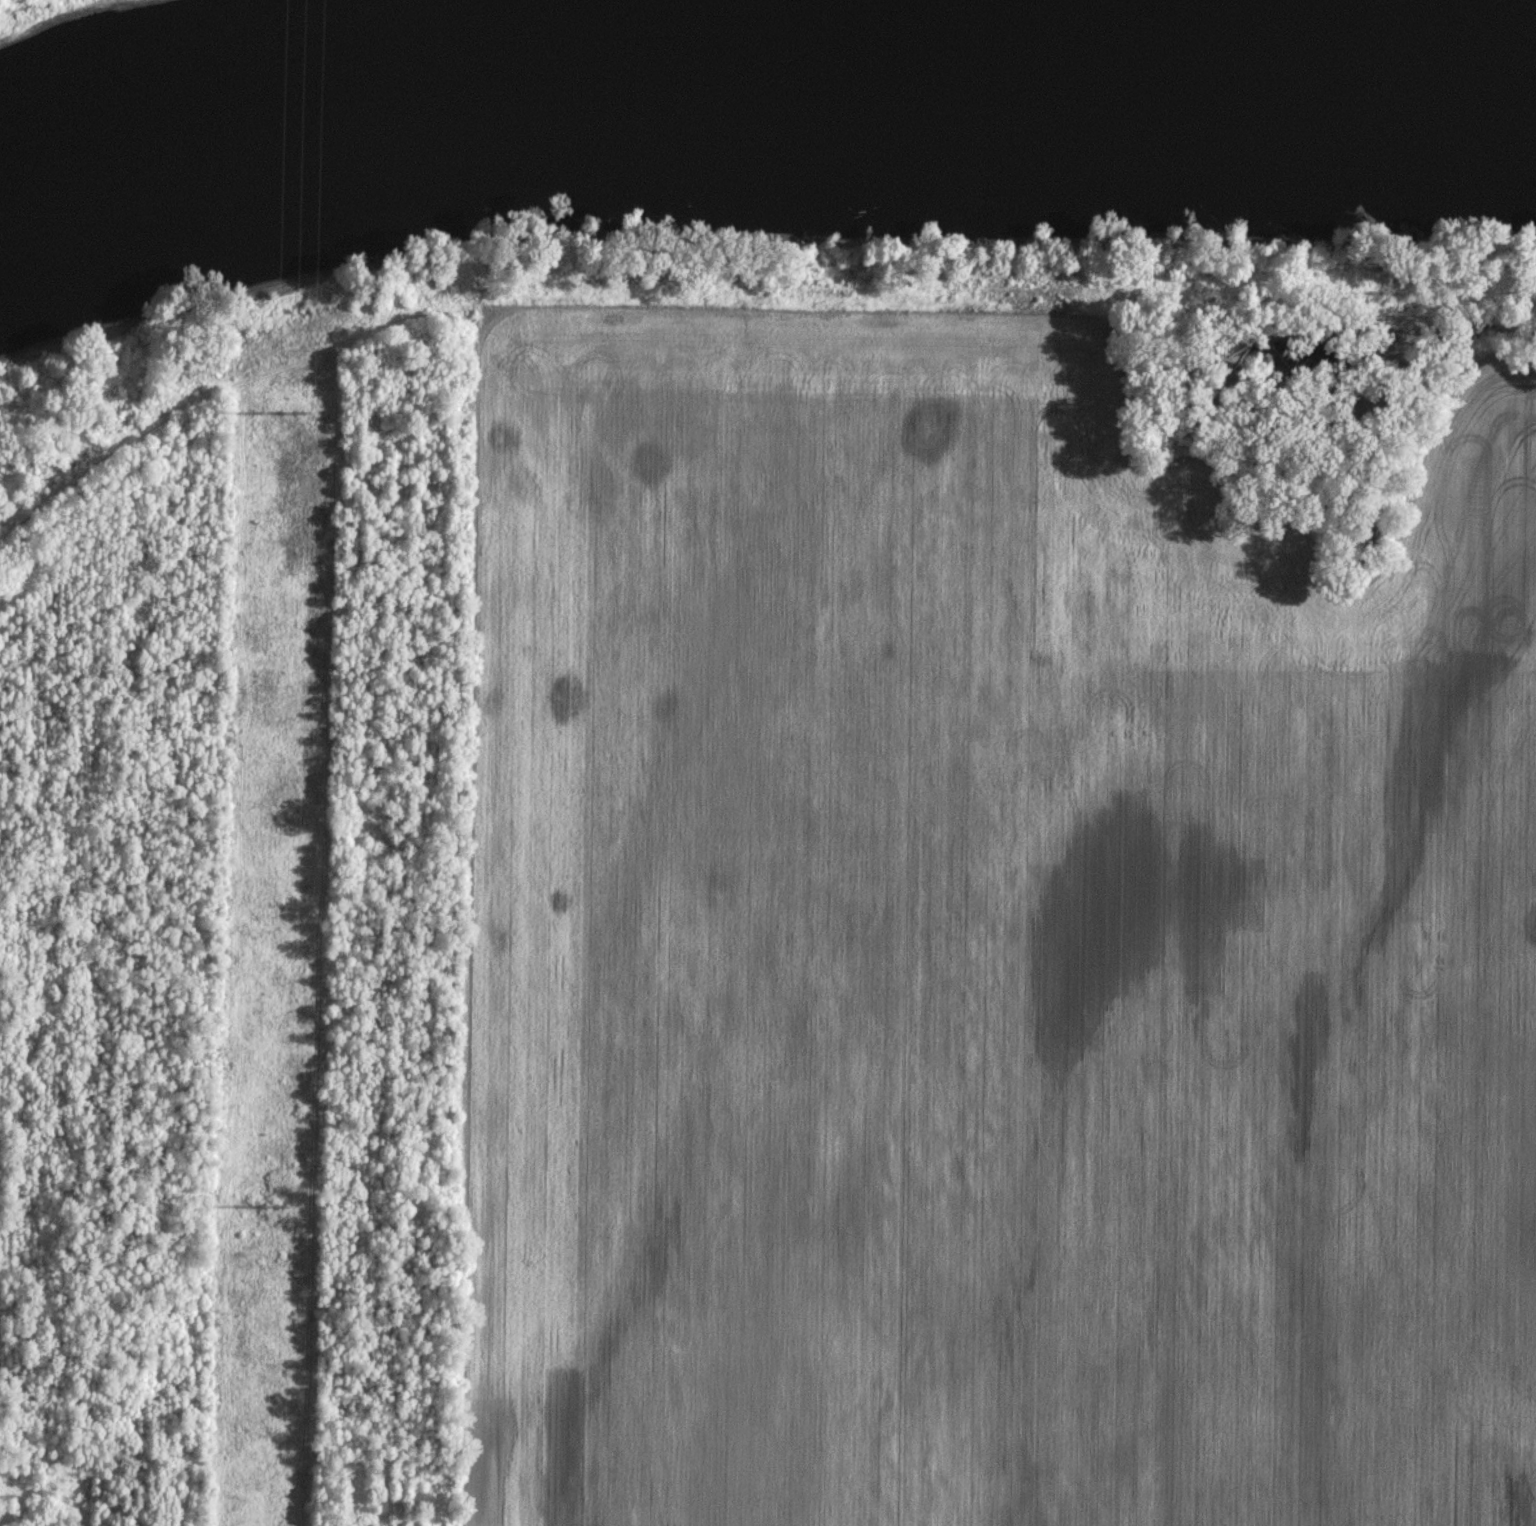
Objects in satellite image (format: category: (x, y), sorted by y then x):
river: (759, 51)
power tower: (290, 415)
power tower: (272, 1206)

